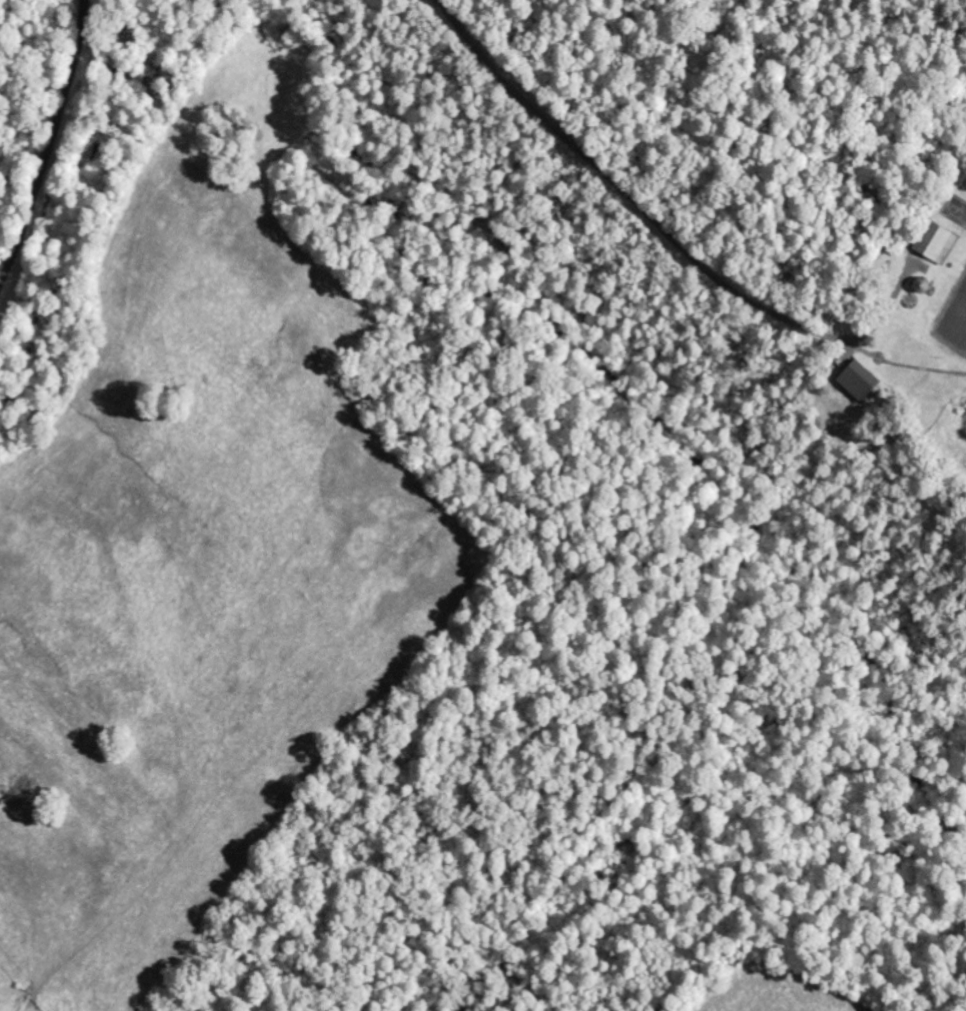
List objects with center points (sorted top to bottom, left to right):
road: (47, 142)
road: (623, 187)
building: (933, 245)
building: (854, 382)

